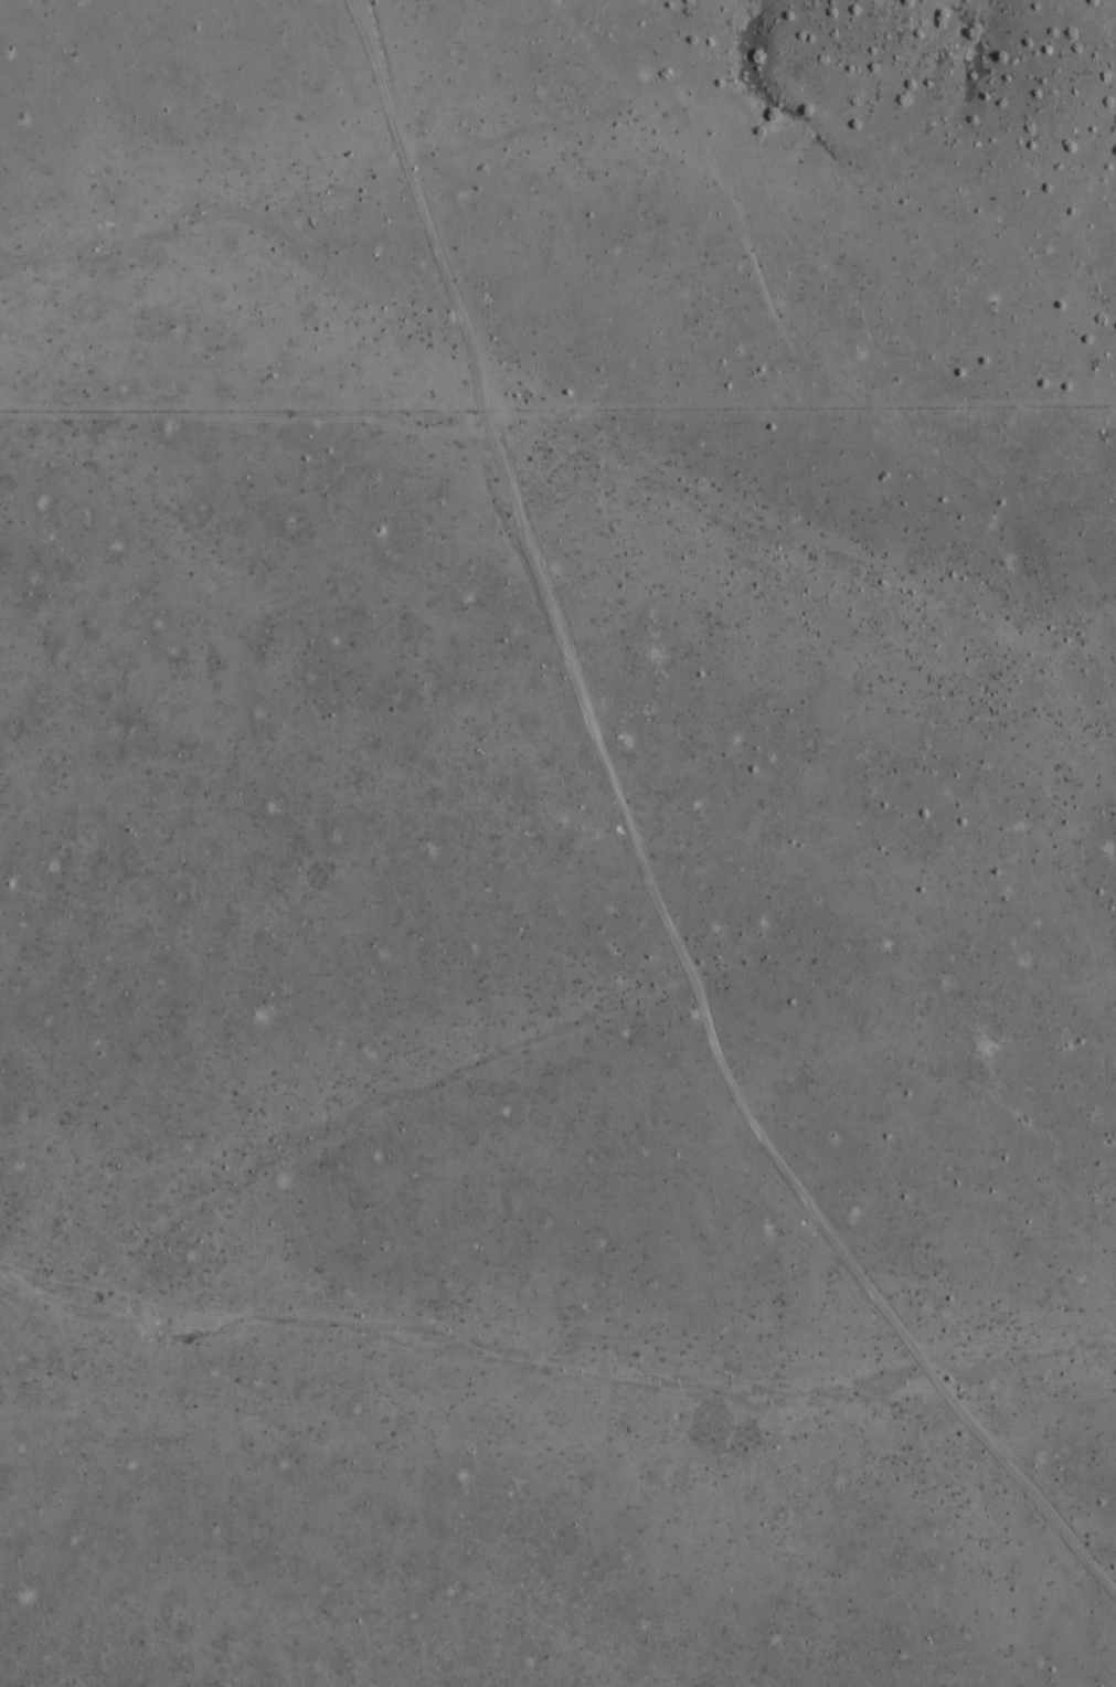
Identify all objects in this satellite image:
road: (640, 845)

